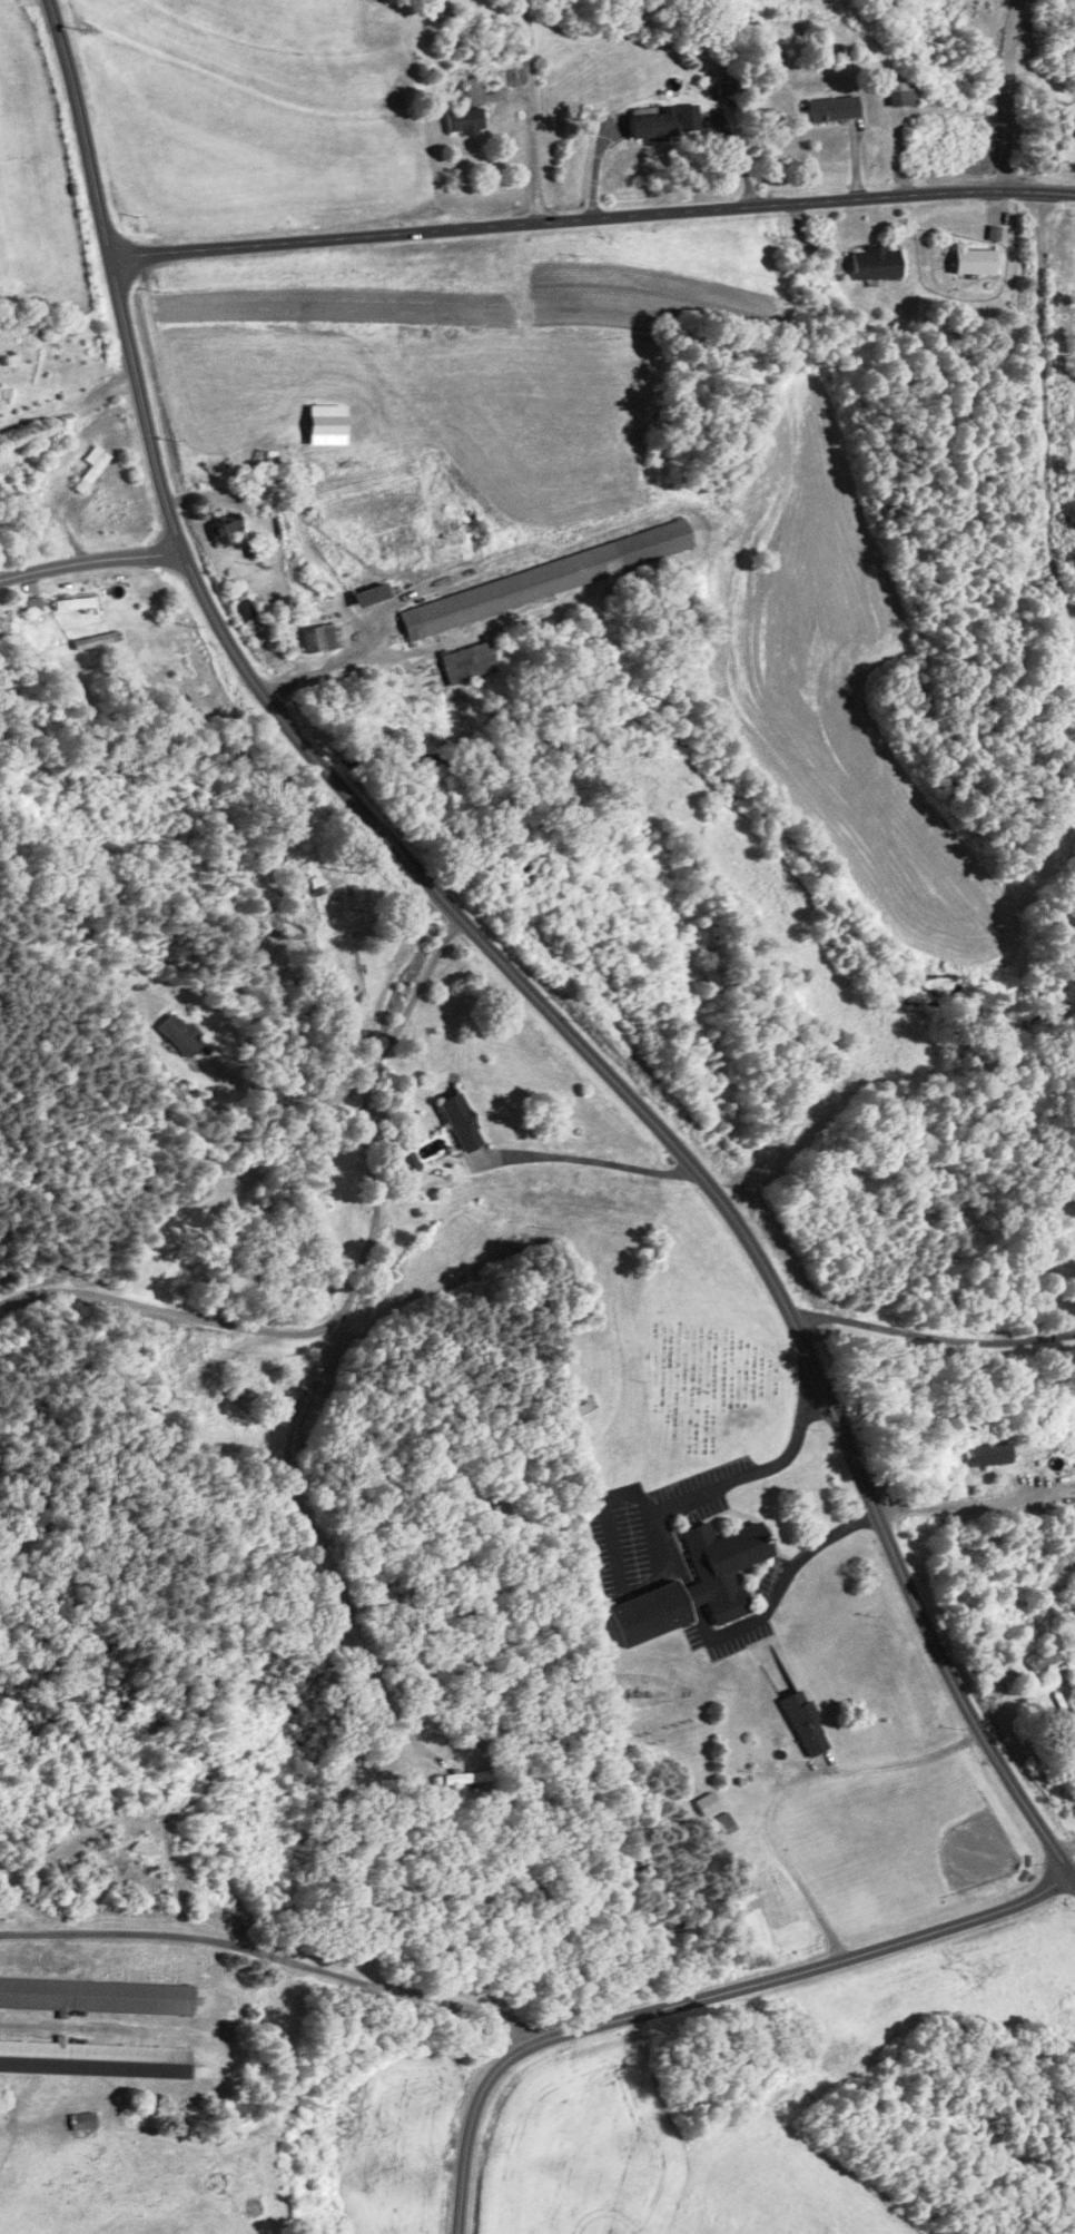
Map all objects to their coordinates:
building: (473, 90)
road: (1005, 91)
building: (832, 107)
road: (532, 110)
road: (492, 112)
building: (462, 120)
building: (664, 121)
road: (591, 218)
building: (973, 259)
building: (875, 263)
road: (1045, 405)
building: (89, 469)
building: (225, 529)
road: (14, 540)
road: (90, 559)
building: (545, 579)
building: (30, 603)
building: (72, 603)
building: (319, 637)
building: (469, 662)
road: (501, 959)
building: (179, 1036)
building: (461, 1123)
road: (589, 1158)
building: (406, 1164)
road: (356, 1279)
road: (933, 1337)
building: (583, 1404)
building: (1074, 1437)
building: (987, 1456)
road: (639, 1496)
road: (969, 1502)
road: (338, 1561)
road: (789, 1571)
building: (696, 1585)
building: (1044, 1657)
building: (1053, 1702)
building: (805, 1721)
building: (466, 1777)
road: (791, 1783)
building: (707, 1803)
building: (723, 1822)
road: (1065, 1842)
building: (145, 1847)
road: (272, 1955)
building: (97, 1995)
road: (699, 1997)
building: (95, 2058)
road: (193, 2080)
building: (81, 2119)

